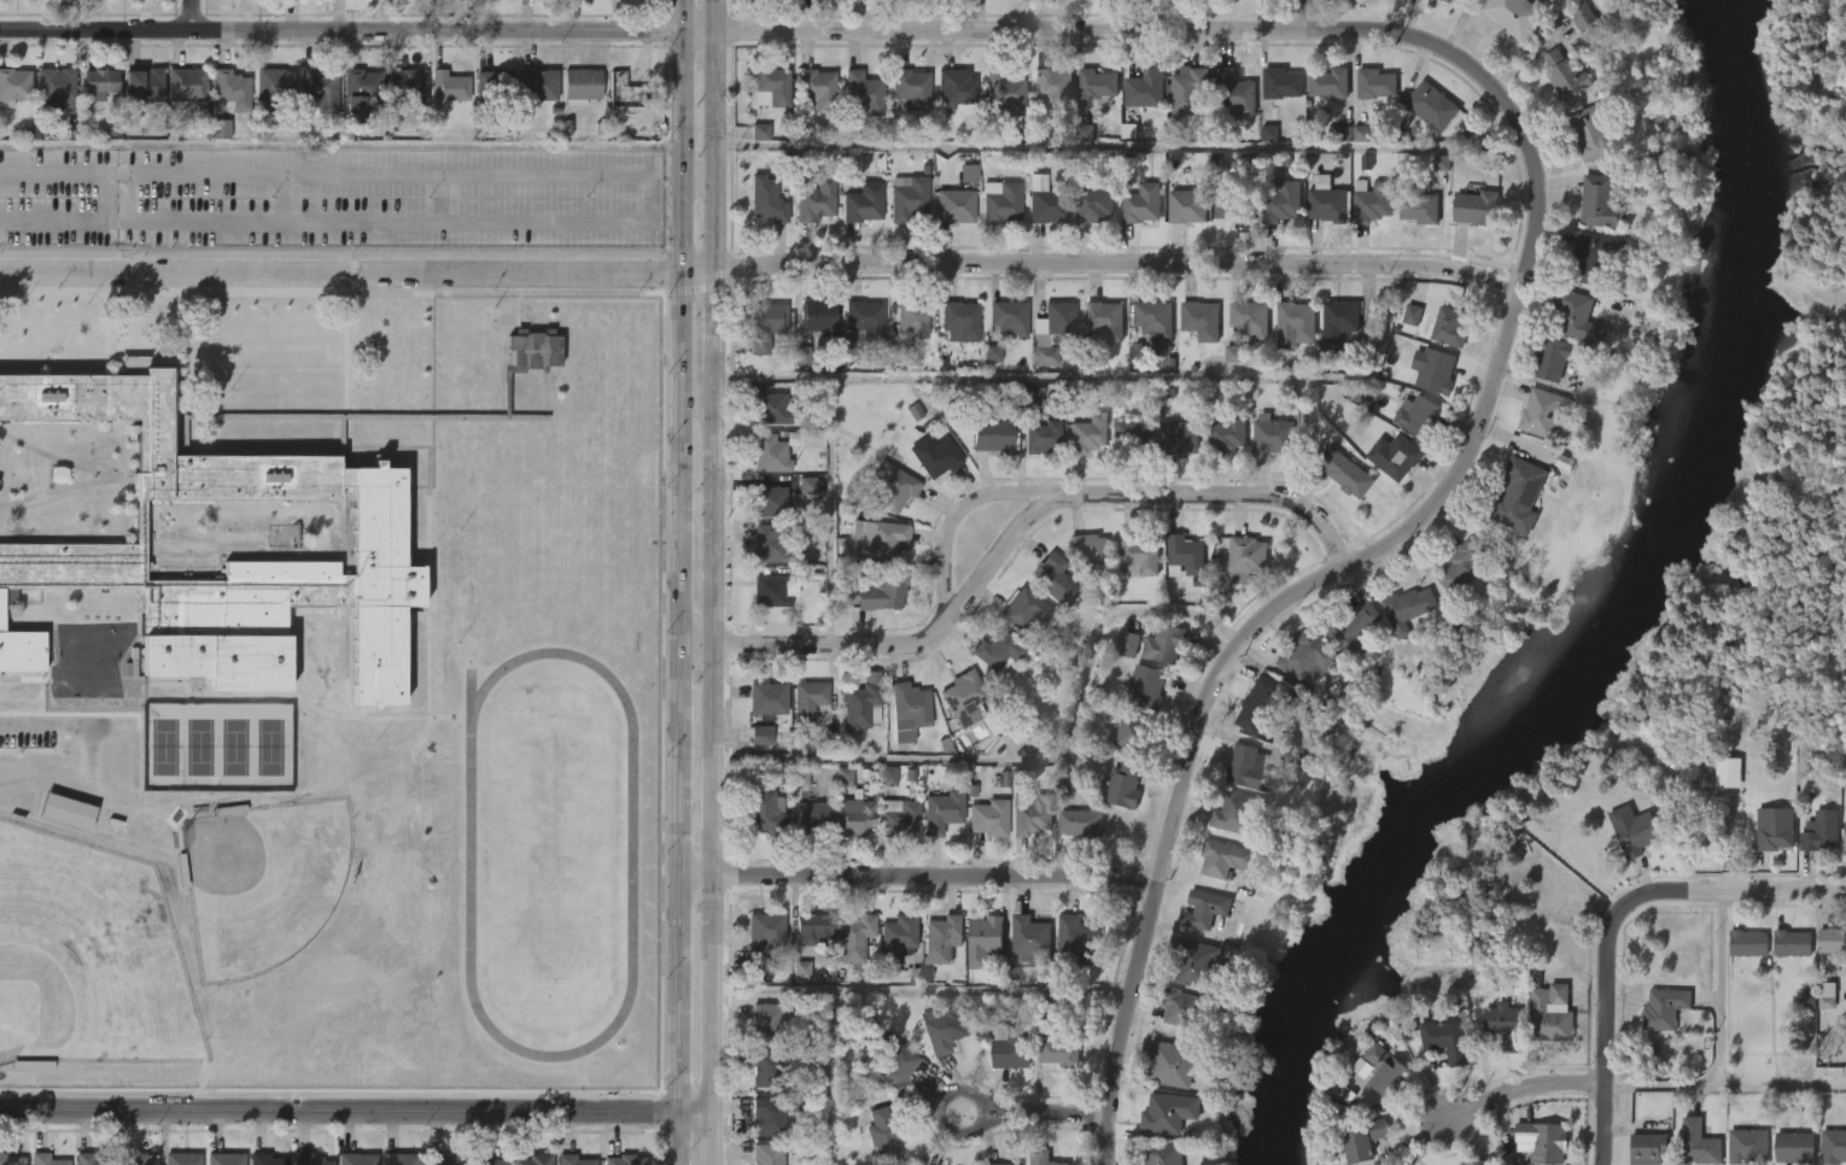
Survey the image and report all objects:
building: (1445, 1)
building: (1582, 13)
building: (1514, 14)
road: (192, 16)
road: (1314, 16)
road: (656, 30)
building: (1564, 76)
building: (142, 83)
building: (1283, 83)
building: (1331, 83)
building: (1373, 83)
building: (99, 84)
building: (1098, 84)
building: (14, 86)
building: (448, 86)
building: (495, 86)
building: (582, 86)
road: (680, 86)
building: (775, 86)
building: (56, 87)
building: (407, 87)
building: (536, 87)
road: (717, 87)
building: (187, 88)
building: (274, 88)
building: (911, 88)
building: (1055, 88)
building: (817, 89)
building: (956, 89)
building: (230, 90)
building: (625, 90)
building: (1145, 90)
building: (1234, 90)
building: (320, 92)
building: (863, 92)
building: (361, 93)
building: (1188, 93)
building: (1005, 94)
building: (1430, 106)
building: (221, 129)
building: (760, 131)
building: (1085, 133)
building: (1268, 133)
building: (1338, 134)
building: (1361, 134)
building: (1591, 134)
road: (1121, 148)
building: (1441, 163)
road: (340, 171)
building: (969, 172)
road: (699, 174)
road: (281, 195)
road: (438, 197)
building: (909, 197)
road: (652, 198)
building: (812, 198)
building: (765, 199)
building: (861, 200)
building: (1281, 200)
building: (1369, 200)
building: (1003, 201)
building: (1327, 201)
building: (1599, 201)
building: (1092, 204)
building: (1144, 204)
building: (1047, 205)
building: (956, 206)
building: (1187, 206)
building: (1235, 207)
building: (1476, 207)
building: (1419, 209)
road: (340, 219)
road: (717, 223)
road: (682, 224)
building: (1590, 259)
road: (760, 265)
building: (1412, 315)
building: (816, 316)
building: (910, 317)
building: (1006, 317)
building: (1248, 317)
building: (1576, 317)
building: (1152, 318)
building: (1103, 320)
building: (1198, 320)
road: (717, 321)
building: (861, 321)
building: (958, 321)
building: (1337, 323)
building: (1292, 324)
building: (765, 326)
building: (1445, 327)
building: (1051, 332)
building: (1137, 352)
building: (993, 353)
building: (1232, 355)
building: (804, 357)
building: (1558, 357)
building: (1432, 369)
road: (1099, 377)
building: (1030, 397)
building: (772, 408)
building: (1541, 412)
building: (1420, 415)
building: (1086, 433)
building: (1226, 433)
building: (991, 435)
building: (1132, 435)
building: (1272, 435)
building: (1040, 437)
building: (1176, 438)
building: (772, 450)
building: (933, 456)
building: (1394, 456)
building: (1343, 473)
building: (807, 485)
building: (890, 487)
building: (1520, 496)
road: (977, 498)
building: (769, 502)
road: (828, 510)
building: (378, 520)
building: (877, 539)
building: (767, 543)
road: (1383, 545)
building: (1090, 554)
building: (1137, 555)
building: (1185, 555)
building: (1246, 557)
road: (994, 560)
building: (1464, 570)
building: (1055, 580)
building: (770, 591)
building: (880, 592)
building: (1407, 610)
building: (1023, 611)
building: (1351, 627)
building: (1124, 644)
building: (1161, 644)
building: (22, 649)
building: (995, 650)
building: (1307, 655)
building: (1350, 679)
building: (1144, 689)
building: (765, 698)
building: (962, 698)
building: (806, 699)
building: (912, 702)
building: (859, 703)
building: (1258, 703)
road: (60, 720)
road: (678, 720)
building: (1016, 732)
building: (1129, 734)
building: (761, 736)
building: (829, 738)
road: (715, 740)
building: (1248, 769)
building: (800, 775)
building: (888, 775)
building: (843, 777)
building: (1123, 785)
building: (68, 812)
building: (764, 813)
building: (941, 814)
building: (1029, 814)
building: (1239, 815)
building: (811, 816)
building: (899, 819)
building: (987, 819)
building: (855, 820)
building: (1081, 824)
building: (1775, 830)
building: (1819, 832)
building: (1638, 835)
building: (1845, 836)
building: (1222, 859)
road: (919, 876)
road: (1735, 891)
building: (1203, 909)
building: (816, 927)
building: (761, 933)
building: (855, 937)
building: (942, 937)
building: (898, 938)
building: (983, 938)
building: (1029, 938)
building: (1077, 938)
building: (1832, 939)
building: (1746, 942)
building: (1792, 942)
building: (1196, 962)
building: (801, 971)
road: (924, 990)
road: (1719, 990)
building: (1827, 995)
building: (1180, 1008)
building: (1664, 1008)
building: (1549, 1014)
building: (765, 1024)
building: (1503, 1024)
building: (941, 1028)
road: (1606, 1030)
building: (1443, 1040)
building: (1009, 1046)
building: (1059, 1050)
building: (1169, 1062)
building: (893, 1064)
building: (765, 1066)
building: (1384, 1069)
road: (829, 1078)
road: (1724, 1088)
road: (1521, 1090)
road: (1038, 1111)
road: (357, 1112)
building: (1169, 1113)
building: (773, 1114)
building: (1378, 1129)
building: (884, 1135)
road: (717, 1137)
building: (1355, 1142)
building: (1542, 1142)
building: (1699, 1142)
building: (1747, 1144)
building: (1833, 1146)
building: (1649, 1147)
building: (1794, 1147)
building: (1161, 1153)
building: (765, 1154)
building: (1041, 1158)
building: (48, 1159)
building: (94, 1159)
building: (141, 1159)
building: (183, 1159)
building: (226, 1159)
building: (267, 1159)
building: (309, 1159)
building: (357, 1159)
building: (401, 1159)
building: (444, 1159)
building: (484, 1159)
building: (536, 1159)
building: (13, 1160)
building: (573, 1160)
building: (625, 1160)
building: (997, 1164)

